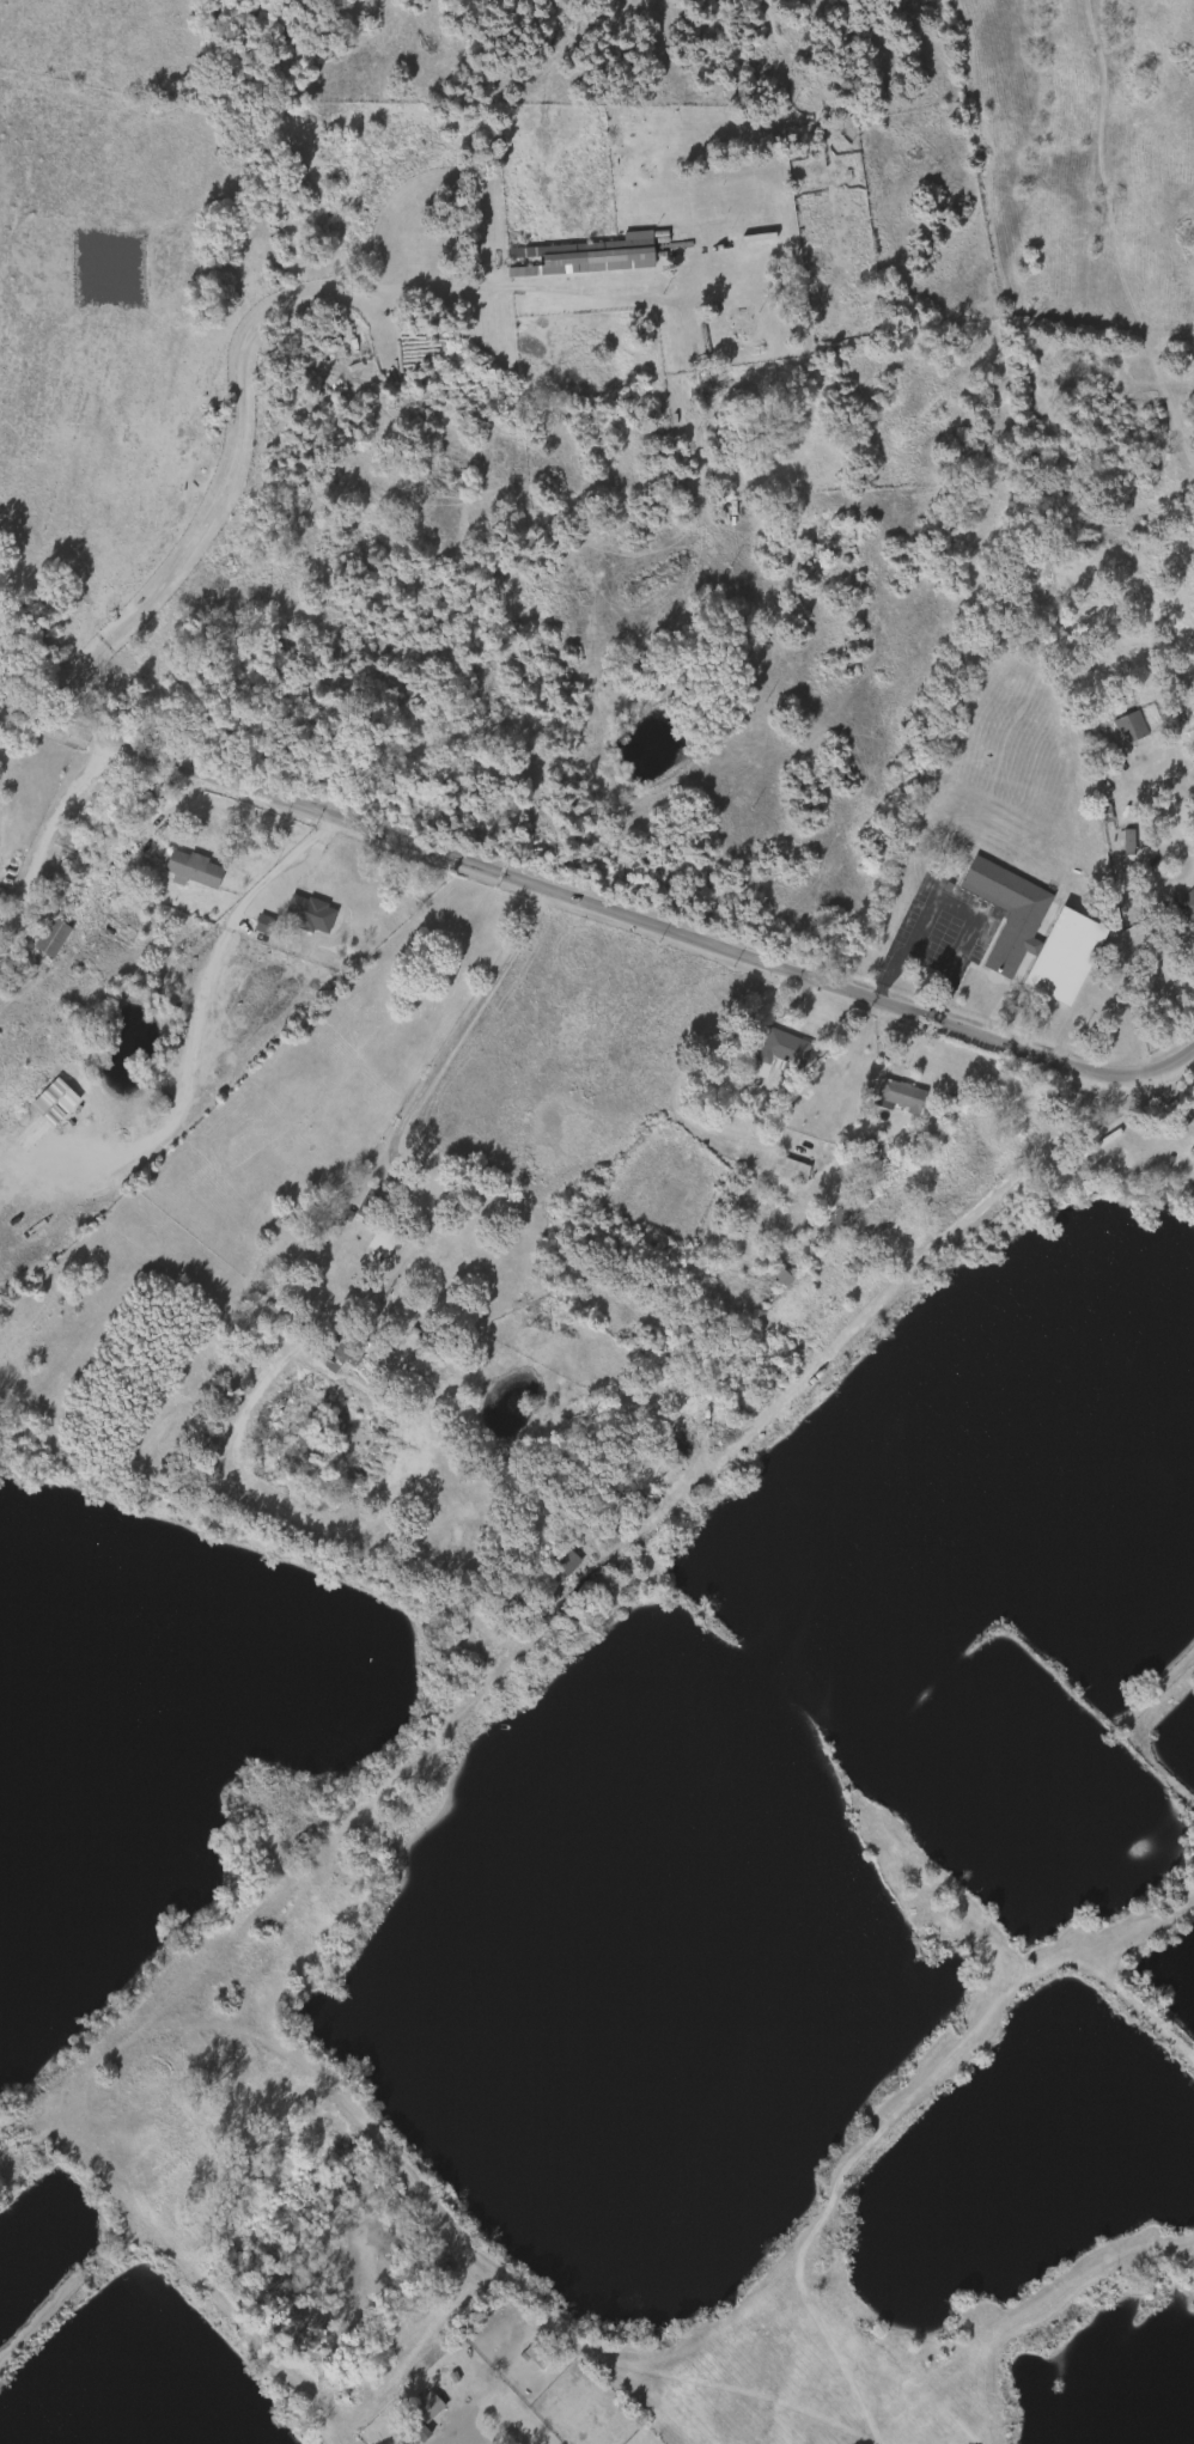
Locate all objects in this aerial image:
building: (580, 256)
road: (245, 347)
building: (1132, 726)
building: (1116, 731)
road: (5, 735)
building: (191, 868)
building: (1183, 901)
road: (950, 904)
road: (596, 906)
building: (309, 913)
building: (1193, 925)
building: (250, 928)
building: (1079, 933)
building: (53, 937)
building: (39, 941)
road: (203, 989)
road: (476, 1025)
building: (782, 1052)
building: (903, 1095)
road: (1171, 1096)
building: (888, 1099)
building: (42, 1105)
building: (792, 1169)
building: (778, 1174)
building: (368, 1206)
building: (357, 1208)
building: (823, 1220)
building: (371, 1248)
building: (769, 1280)
road: (881, 1297)
building: (340, 1357)
building: (553, 1565)
building: (536, 2353)
building: (421, 2414)
road: (461, 2437)

